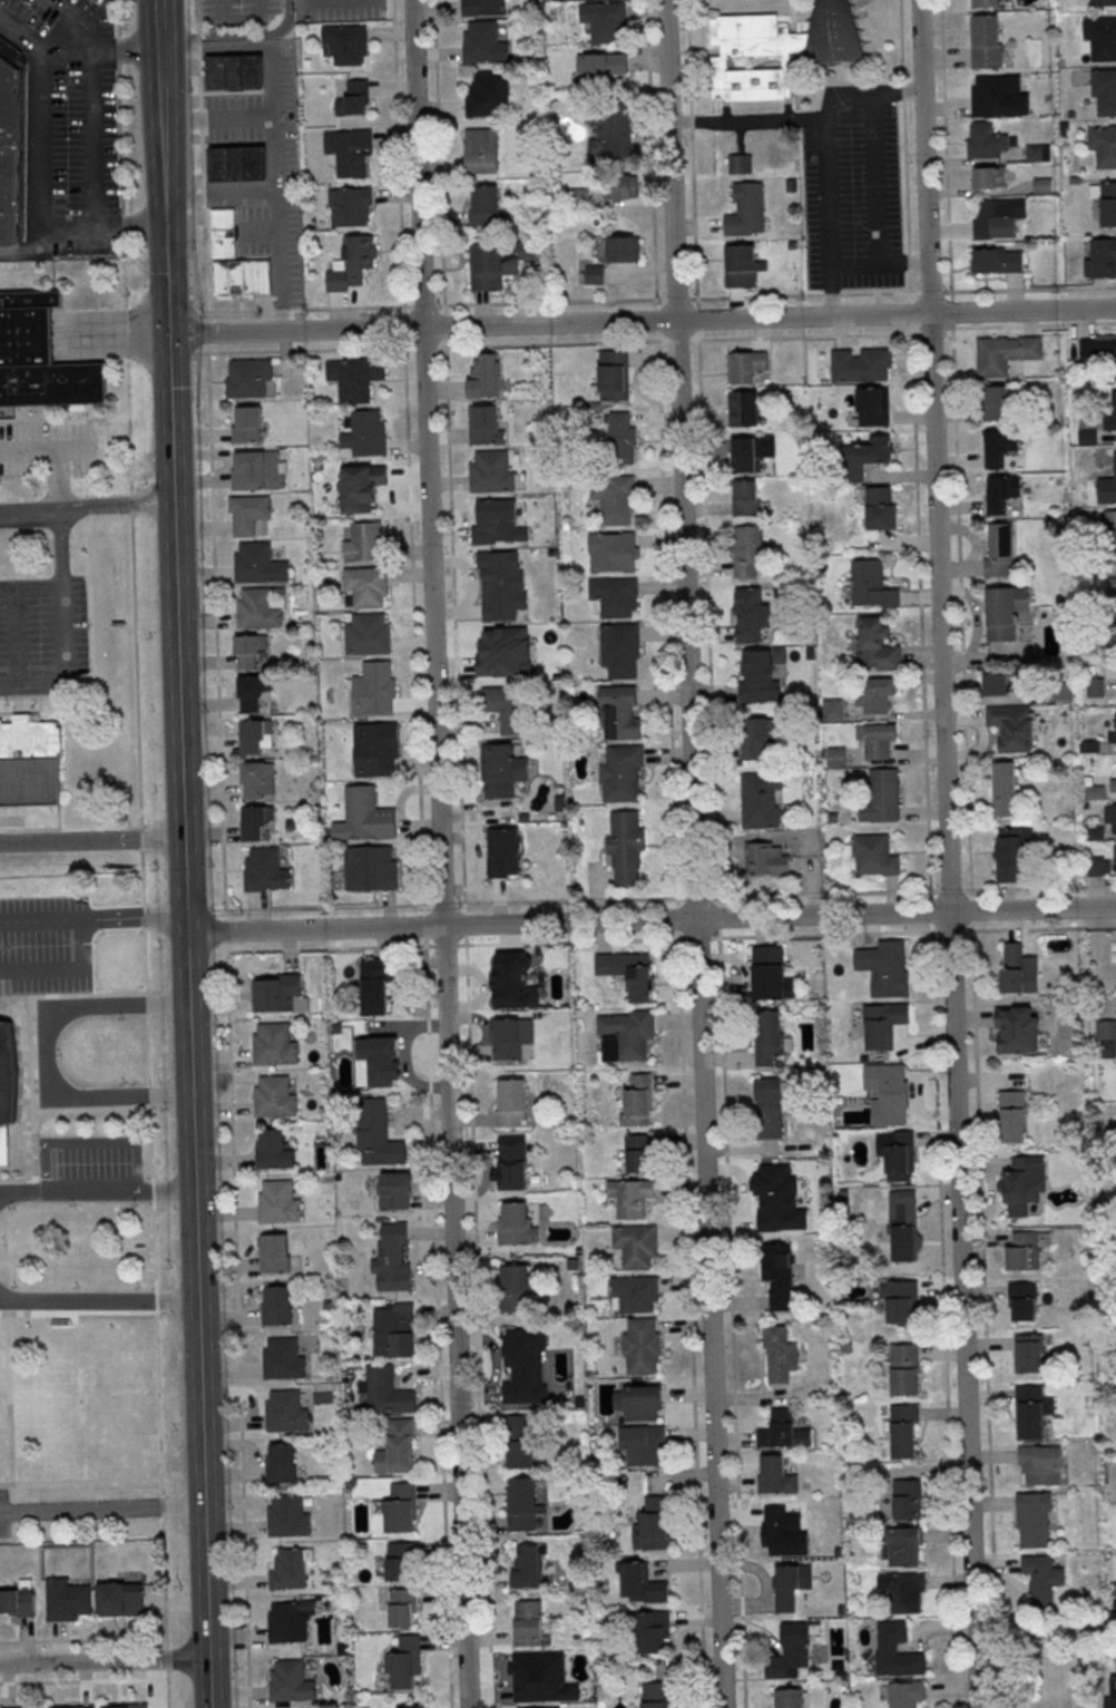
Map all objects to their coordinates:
road: (340, 2)
building: (985, 2)
building: (1103, 2)
building: (483, 8)
parking lot: (350, 10)
parking lot: (235, 13)
road: (158, 14)
road: (196, 16)
road: (72, 21)
building: (605, 21)
road: (242, 22)
road: (257, 36)
road: (178, 37)
building: (1100, 37)
building: (986, 41)
building: (346, 43)
building: (482, 43)
building: (777, 48)
road: (125, 49)
road: (65, 51)
road: (198, 53)
road: (160, 61)
building: (601, 66)
building: (235, 72)
road: (198, 86)
building: (1104, 90)
building: (488, 95)
building: (991, 96)
building: (351, 98)
road: (219, 116)
road: (747, 118)
road: (200, 120)
building: (613, 127)
road: (277, 133)
road: (91, 138)
building: (986, 139)
building: (10, 144)
building: (1103, 145)
building: (481, 152)
building: (1038, 152)
building: (350, 153)
road: (824, 156)
road: (202, 160)
building: (740, 163)
building: (238, 164)
building: (989, 176)
road: (40, 178)
building: (620, 187)
parking lot: (852, 189)
road: (221, 193)
road: (203, 199)
building: (1105, 199)
road: (877, 202)
building: (484, 205)
building: (349, 207)
building: (746, 209)
building: (995, 217)
road: (26, 247)
building: (623, 250)
building: (1102, 257)
building: (997, 258)
road: (902, 261)
building: (235, 262)
building: (351, 263)
building: (497, 264)
building: (742, 265)
road: (204, 273)
building: (594, 275)
road: (779, 295)
road: (642, 321)
road: (206, 332)
building: (1097, 345)
building: (1004, 352)
building: (38, 357)
building: (861, 364)
building: (745, 365)
building: (482, 377)
building: (610, 377)
building: (248, 378)
building: (355, 378)
building: (996, 402)
building: (872, 406)
building: (743, 407)
building: (1112, 409)
building: (246, 423)
building: (486, 424)
building: (366, 433)
building: (1088, 436)
building: (620, 438)
road: (916, 443)
road: (956, 443)
road: (41, 445)
building: (999, 445)
road: (702, 447)
building: (879, 448)
road: (659, 451)
building: (745, 453)
road: (170, 465)
building: (257, 470)
building: (490, 471)
building: (854, 471)
road: (57, 477)
building: (1112, 478)
building: (360, 488)
building: (1001, 491)
building: (1089, 497)
building: (747, 498)
building: (614, 499)
building: (879, 506)
road: (85, 507)
building: (248, 511)
building: (496, 523)
building: (1110, 523)
building: (364, 543)
road: (60, 547)
building: (999, 548)
building: (610, 550)
building: (746, 550)
building: (258, 564)
park: (63, 578)
building: (871, 584)
building: (1112, 584)
road: (30, 585)
building: (366, 585)
building: (501, 585)
building: (614, 596)
building: (257, 609)
building: (1004, 611)
building: (750, 614)
road: (215, 631)
building: (1115, 632)
parking lot: (42, 635)
building: (366, 635)
building: (875, 644)
building: (251, 650)
building: (618, 650)
road: (65, 666)
building: (757, 675)
building: (996, 683)
building: (1095, 685)
building: (374, 689)
building: (253, 692)
building: (873, 693)
building: (507, 706)
building: (832, 709)
building: (620, 712)
building: (1014, 726)
building: (255, 733)
building: (1112, 735)
building: (758, 738)
building: (875, 739)
building: (1089, 745)
building: (375, 749)
building: (835, 755)
building: (29, 761)
building: (500, 771)
building: (620, 773)
building: (258, 779)
building: (1113, 784)
building: (1004, 788)
building: (1095, 791)
building: (884, 793)
building: (760, 798)
building: (368, 814)
building: (1109, 816)
road: (140, 819)
building: (257, 820)
building: (1094, 832)
road: (90, 840)
building: (625, 846)
building: (1010, 851)
road: (421, 853)
road: (438, 853)
road: (460, 853)
building: (502, 853)
road: (693, 853)
building: (874, 853)
road: (946, 853)
building: (1115, 857)
building: (765, 858)
building: (370, 868)
building: (265, 870)
road: (182, 877)
road: (1039, 886)
road: (949, 888)
road: (822, 891)
road: (969, 891)
road: (928, 892)
road: (695, 896)
road: (716, 899)
road: (452, 905)
road: (969, 908)
road: (1031, 908)
road: (928, 909)
road: (675, 917)
road: (716, 917)
road: (91, 918)
road: (695, 919)
road: (183, 925)
road: (1039, 926)
road: (224, 929)
road: (312, 929)
road: (950, 929)
road: (580, 940)
road: (184, 966)
building: (1011, 966)
building: (884, 967)
road: (65, 968)
building: (769, 972)
building: (628, 973)
building: (508, 982)
building: (374, 987)
building: (277, 993)
building: (882, 1024)
building: (1017, 1028)
building: (624, 1035)
building: (770, 1036)
building: (509, 1037)
building: (1105, 1037)
building: (273, 1045)
road: (186, 1048)
road: (41, 1054)
building: (374, 1062)
building: (4, 1085)
building: (888, 1092)
building: (274, 1097)
building: (636, 1100)
building: (509, 1103)
building: (767, 1107)
building: (1011, 1115)
building: (376, 1135)
road: (189, 1144)
building: (273, 1150)
building: (900, 1154)
building: (637, 1156)
building: (509, 1163)
building: (1024, 1185)
building: (393, 1191)
road: (96, 1193)
building: (770, 1193)
building: (632, 1199)
building: (278, 1202)
building: (515, 1224)
building: (904, 1224)
building: (636, 1246)
building: (1026, 1249)
building: (273, 1253)
building: (391, 1260)
building: (777, 1273)
building: (515, 1288)
building: (635, 1294)
road: (97, 1298)
building: (900, 1300)
building: (1022, 1300)
building: (275, 1305)
road: (982, 1315)
road: (942, 1316)
road: (730, 1319)
road: (688, 1320)
road: (235, 1325)
building: (403, 1330)
building: (640, 1346)
building: (1028, 1353)
building: (779, 1354)
building: (283, 1359)
building: (522, 1363)
building: (904, 1368)
building: (386, 1392)
building: (642, 1403)
building: (1031, 1411)
building: (285, 1412)
road: (199, 1425)
building: (516, 1426)
building: (783, 1429)
building: (904, 1431)
building: (640, 1445)
building: (397, 1448)
building: (519, 1455)
building: (280, 1463)
building: (1040, 1464)
building: (774, 1474)
building: (907, 1497)
building: (522, 1505)
road: (100, 1509)
building: (399, 1509)
building: (287, 1516)
building: (1032, 1519)
building: (652, 1525)
building: (782, 1533)
building: (904, 1545)
building: (399, 1561)
building: (527, 1567)
building: (287, 1570)
building: (1041, 1573)
building: (640, 1584)
building: (786, 1588)
building: (904, 1590)
building: (120, 1599)
building: (67, 1600)
building: (18, 1601)
building: (402, 1608)
building: (287, 1624)
building: (529, 1624)
building: (654, 1632)
building: (897, 1649)
building: (791, 1651)
road: (167, 1659)
road: (105, 1660)
building: (404, 1663)
road: (209, 1682)
building: (290, 1682)
building: (545, 1682)
building: (905, 1694)
building: (654, 1695)
building: (1110, 1695)
building: (790, 1697)
building: (134, 1706)
building: (19, 1707)
building: (79, 1707)
building: (410, 1707)

